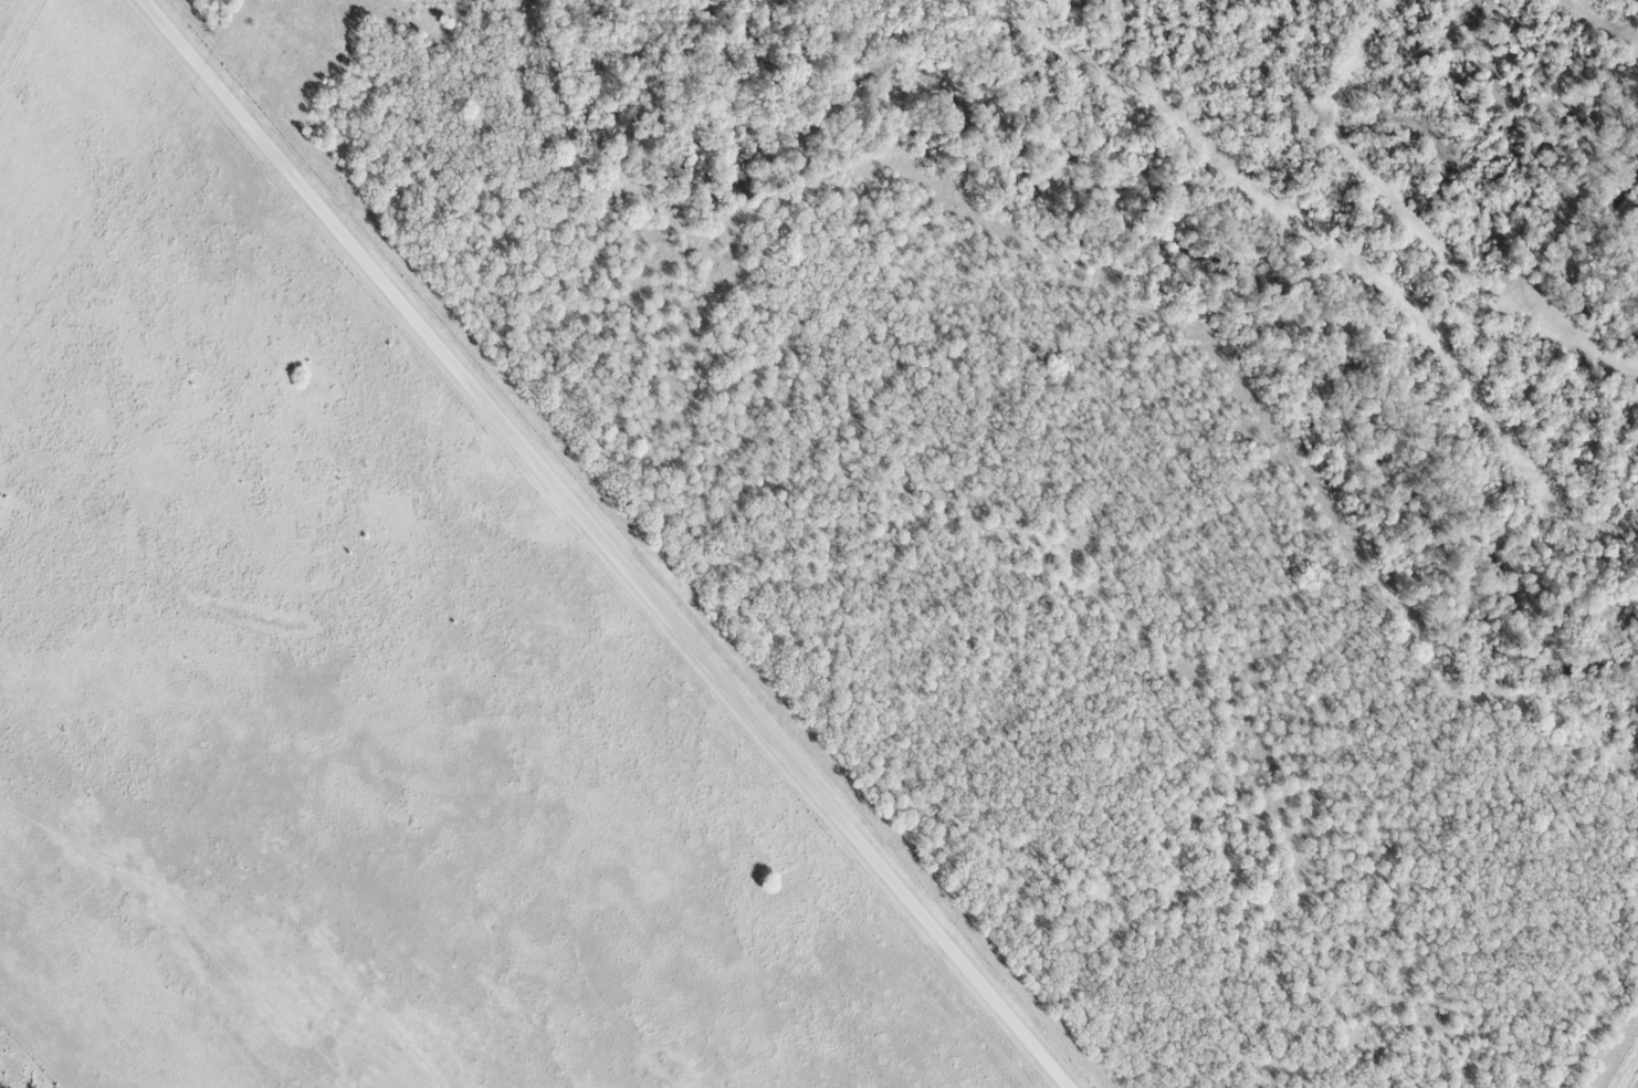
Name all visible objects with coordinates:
road: (603, 544)

